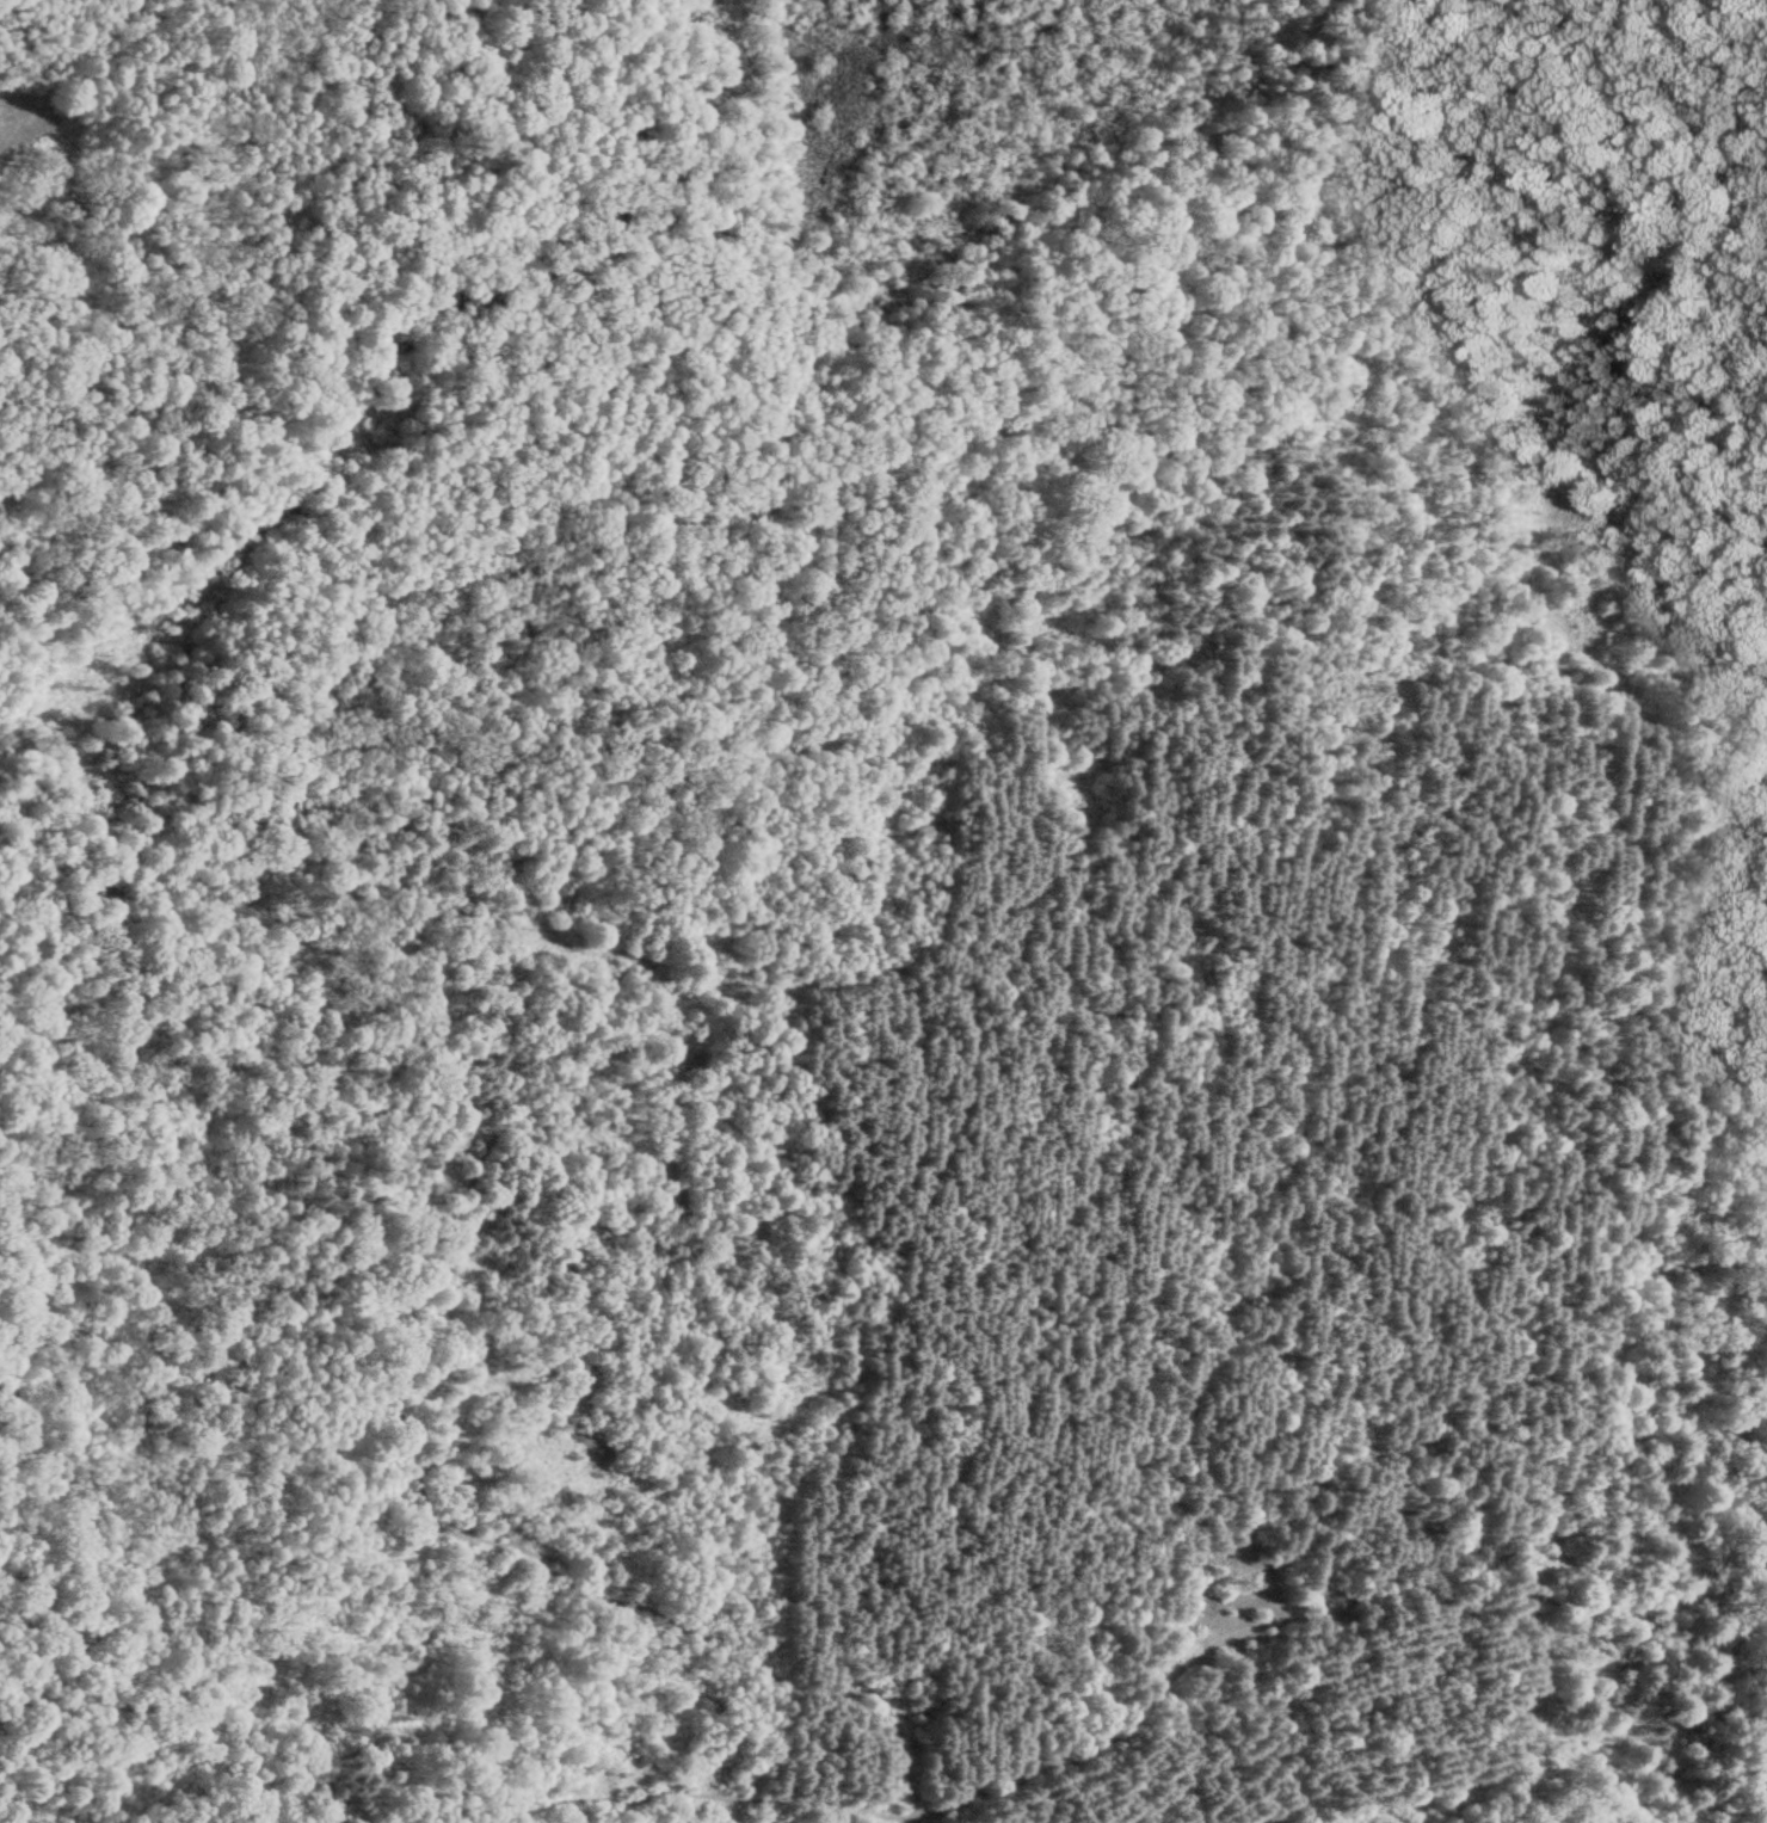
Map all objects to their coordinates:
road: (1361, 632)
road: (673, 872)
road: (1760, 969)
road: (1177, 1659)
road: (527, 1804)
road: (506, 1818)

